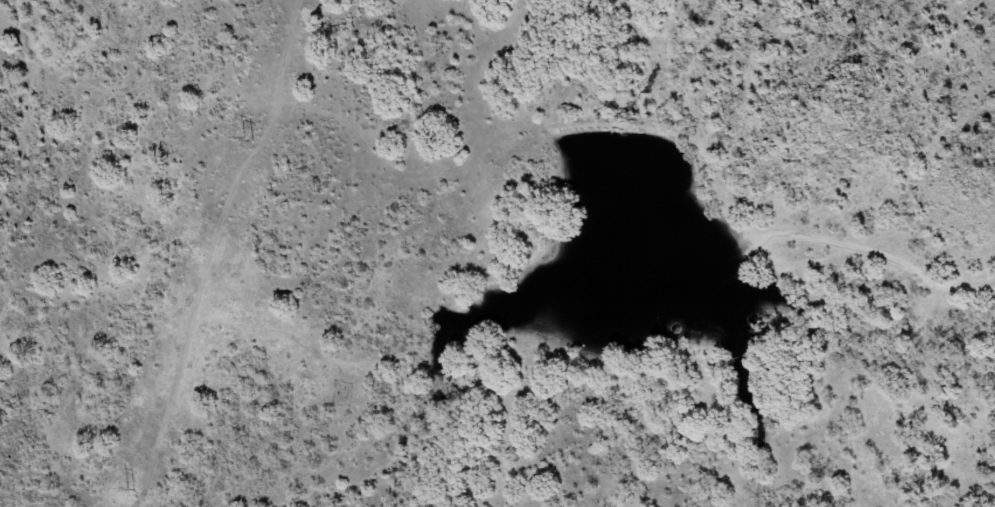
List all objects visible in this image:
power tower: (248, 138)
road: (880, 259)
power tower: (129, 488)

